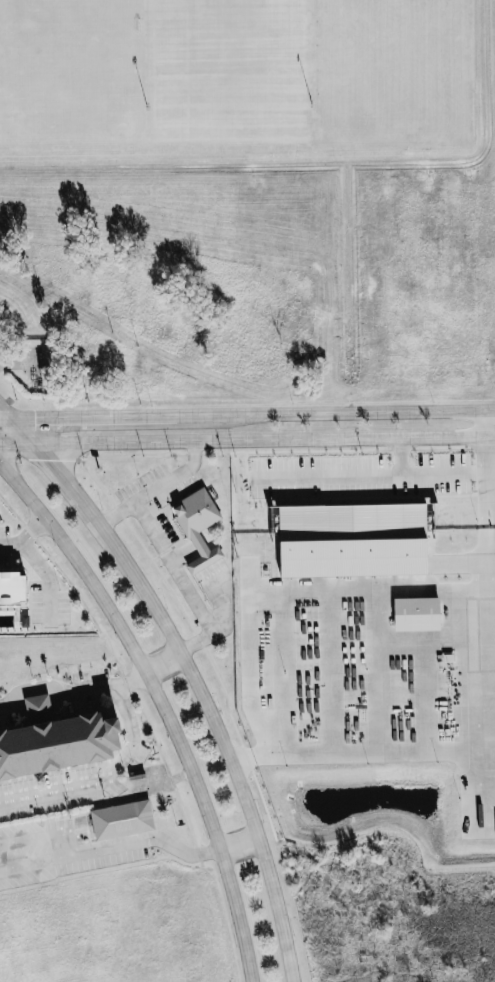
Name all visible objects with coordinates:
road: (247, 414)
traffic signals: (36, 418)
road: (247, 440)
traffic signals: (45, 458)
road: (333, 479)
road: (431, 480)
road: (154, 489)
building: (200, 527)
road: (25, 536)
road: (46, 575)
road: (182, 581)
building: (15, 587)
road: (162, 663)
road: (189, 672)
road: (131, 678)
road: (57, 689)
building: (40, 705)
road: (160, 706)
building: (60, 745)
road: (365, 759)
road: (104, 779)
building: (124, 819)
road: (170, 843)
road: (79, 849)

